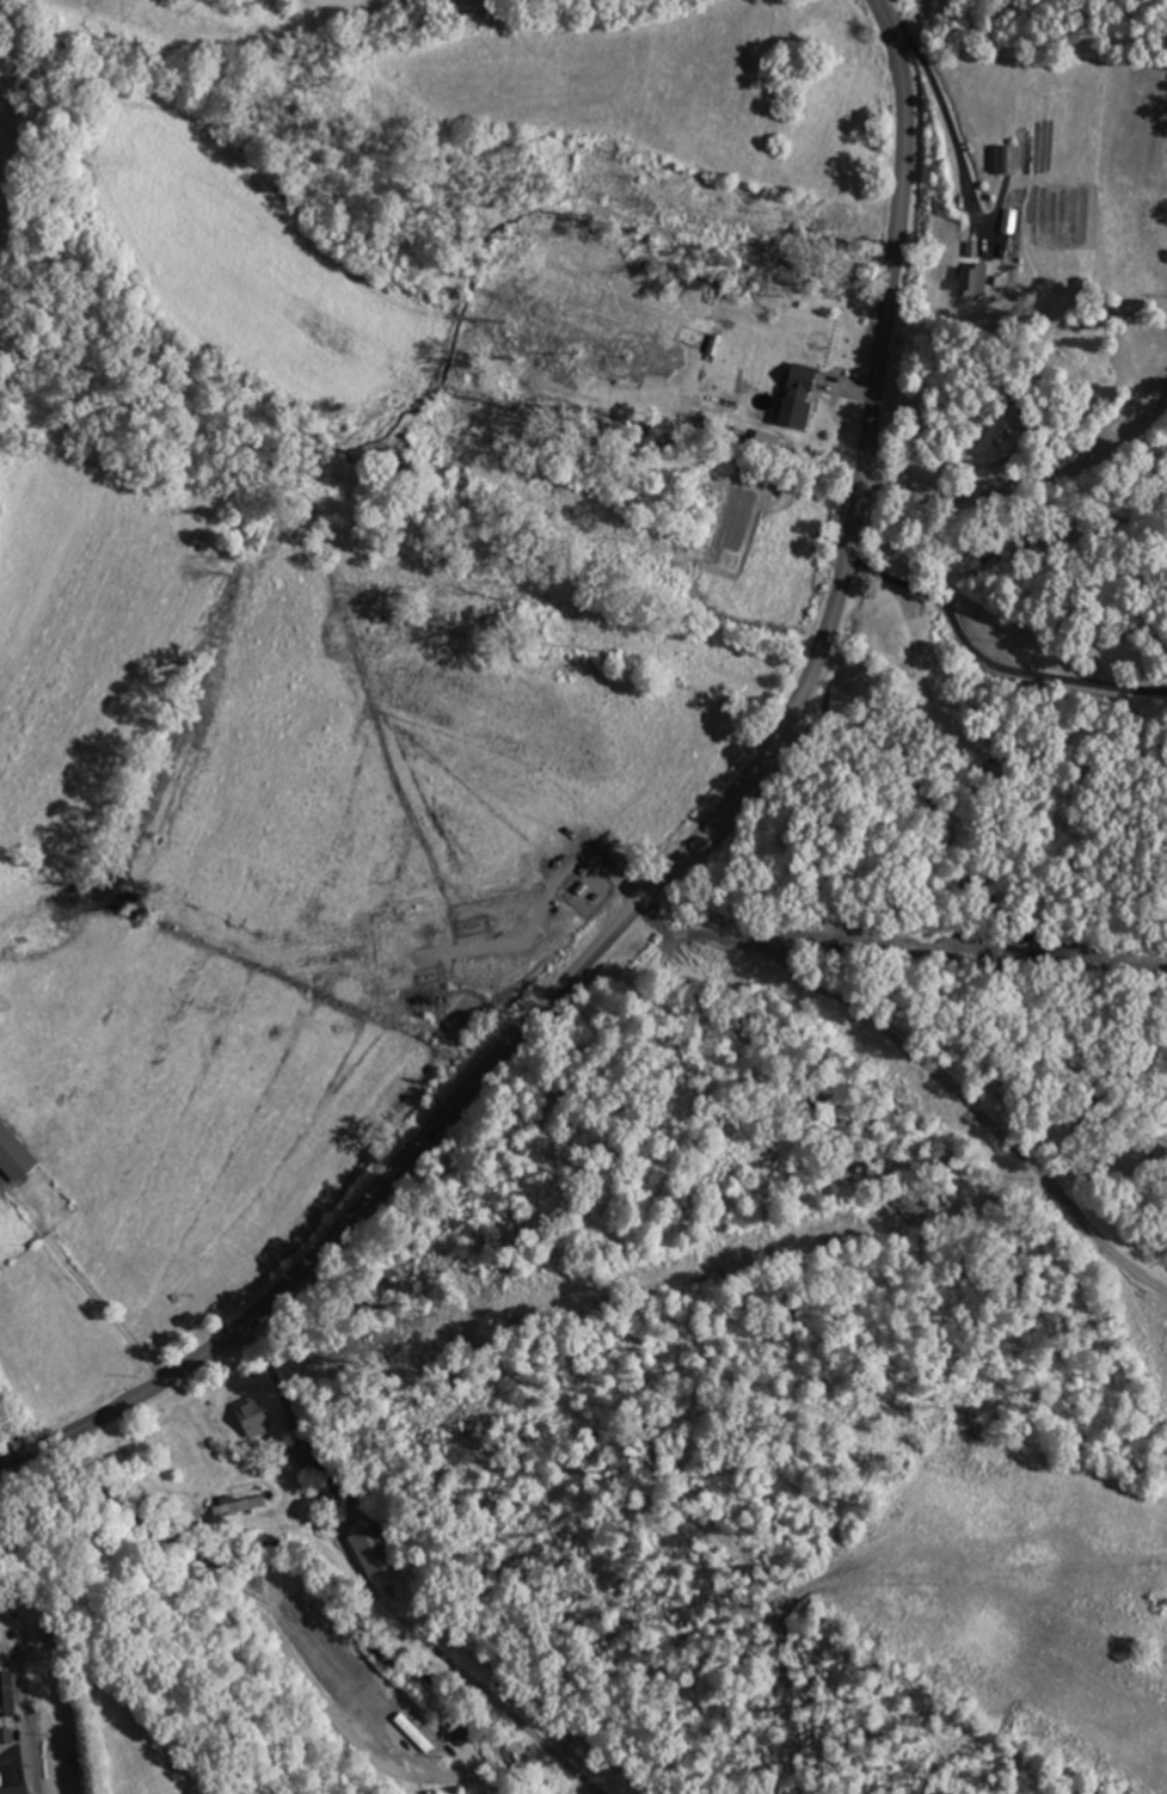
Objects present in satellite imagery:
building: (1006, 161)
building: (1012, 222)
building: (844, 231)
building: (972, 282)
building: (794, 398)
building: (907, 668)
road: (678, 858)
building: (12, 1157)
building: (250, 1420)
building: (371, 1553)
road: (246, 1603)
building: (11, 1700)
road: (480, 1784)
building: (16, 1789)

